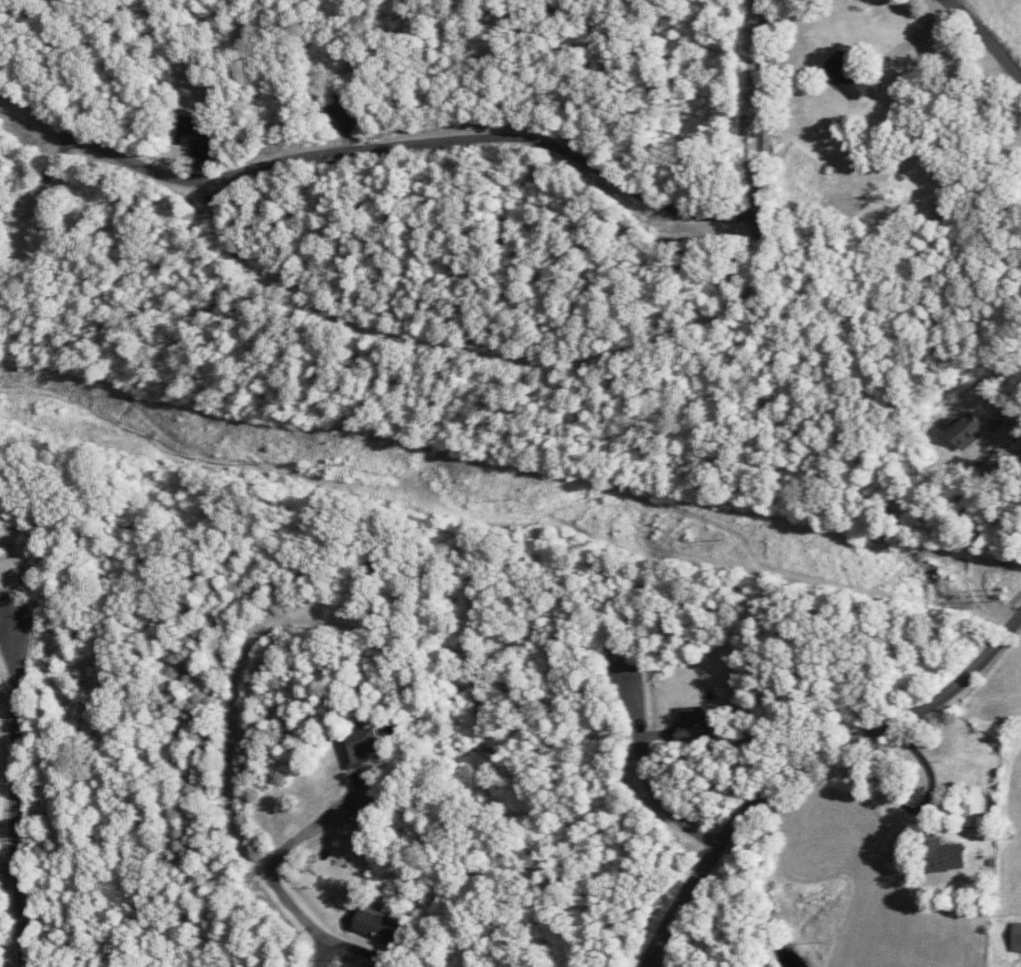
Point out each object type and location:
road: (985, 35)
building: (847, 76)
building: (341, 112)
building: (194, 135)
road: (491, 140)
road: (102, 153)
road: (48, 184)
road: (596, 359)
building: (963, 430)
road: (976, 480)
building: (691, 724)
road: (805, 760)
road: (647, 770)
road: (17, 800)
road: (237, 801)
building: (973, 808)
road: (307, 840)
building: (941, 855)
building: (378, 927)
building: (1016, 938)
road: (452, 953)
road: (328, 955)

